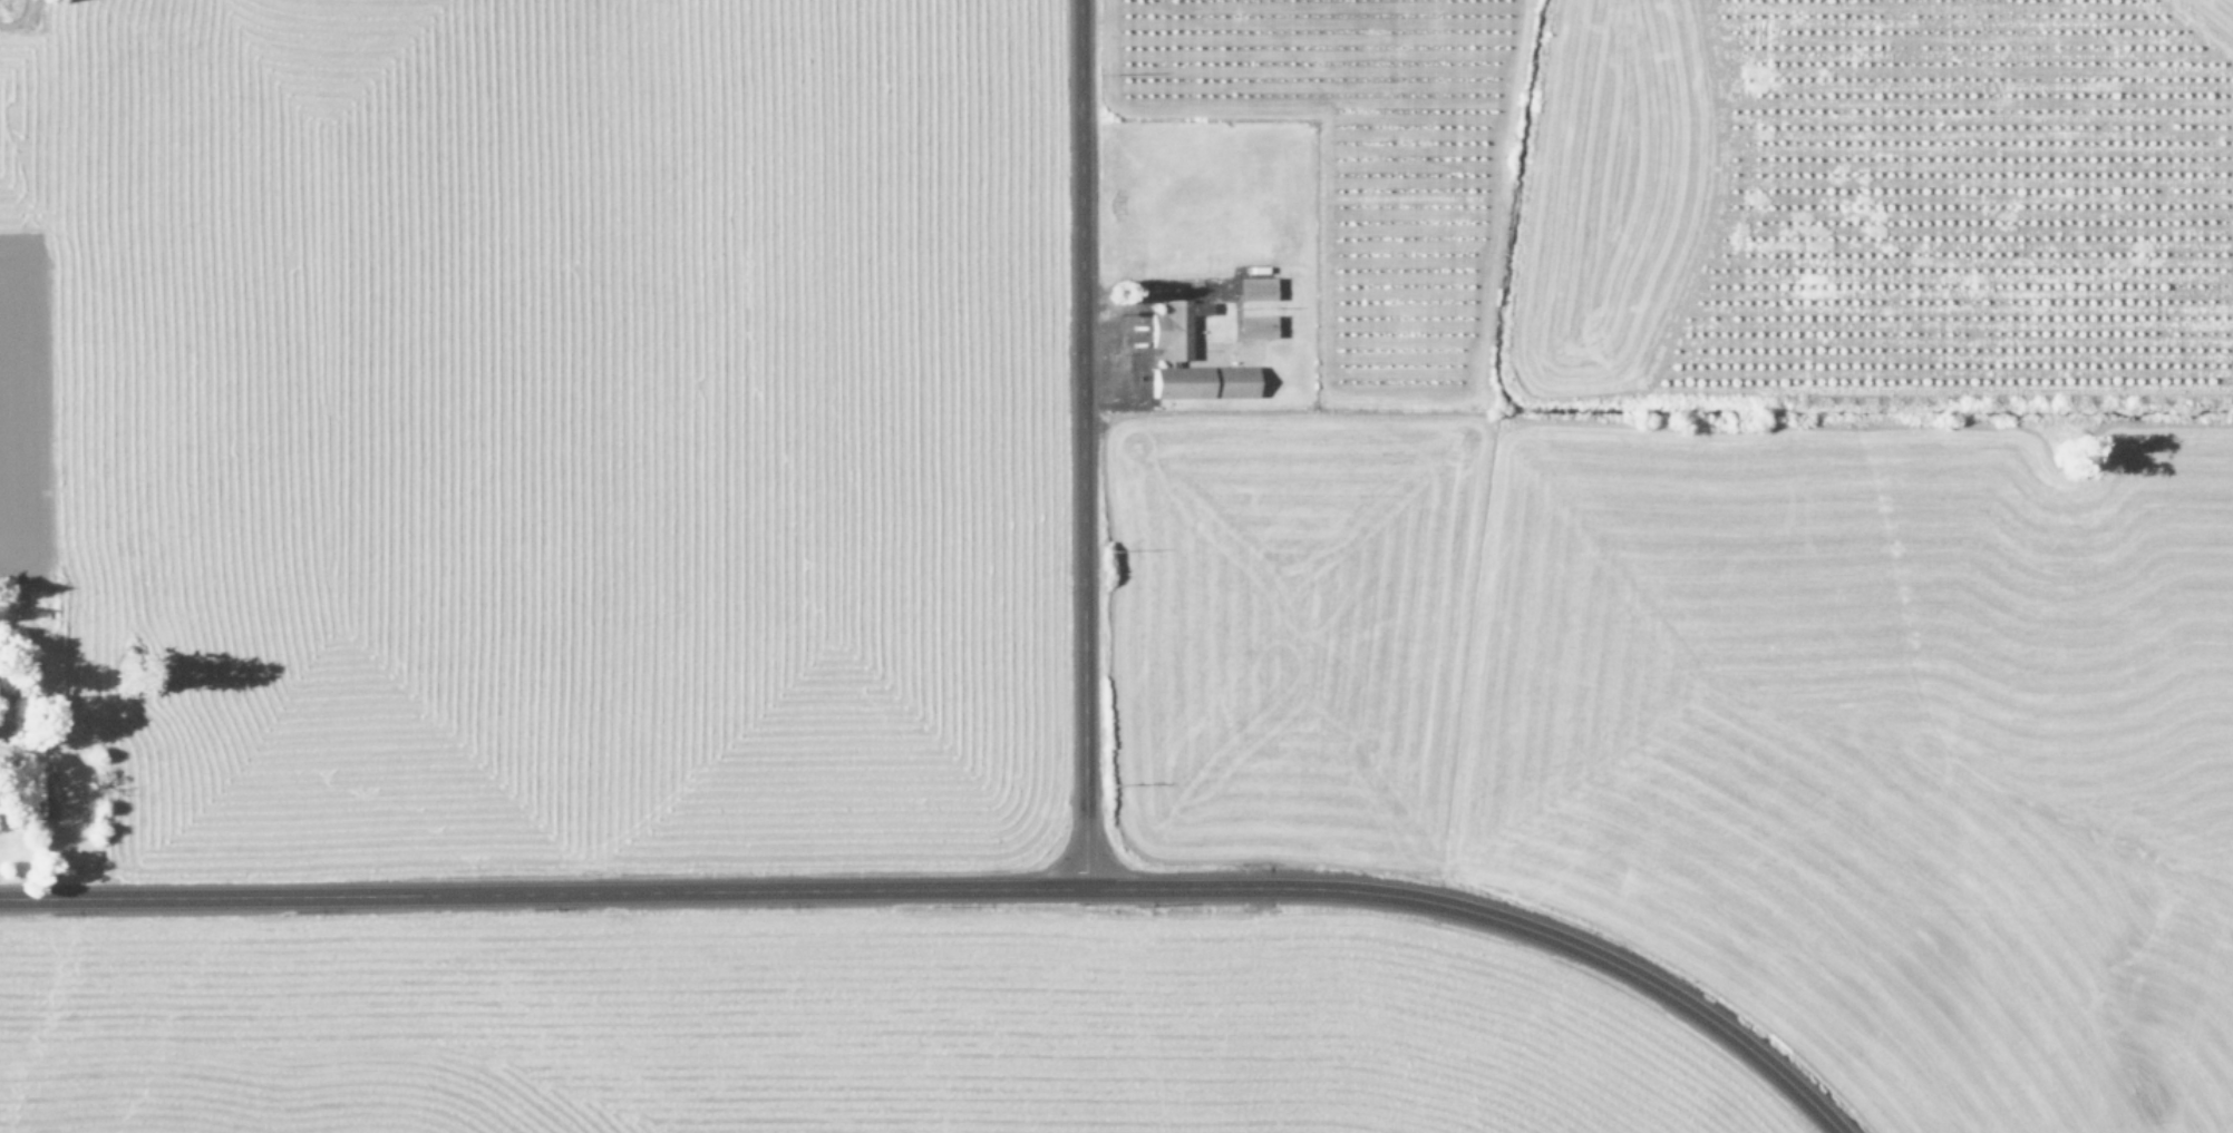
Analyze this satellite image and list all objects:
building: (1127, 279)
building: (1251, 290)
building: (1253, 329)
building: (1247, 352)
building: (1171, 354)
road: (1081, 443)
crop: (1116, 566)
road: (952, 888)

